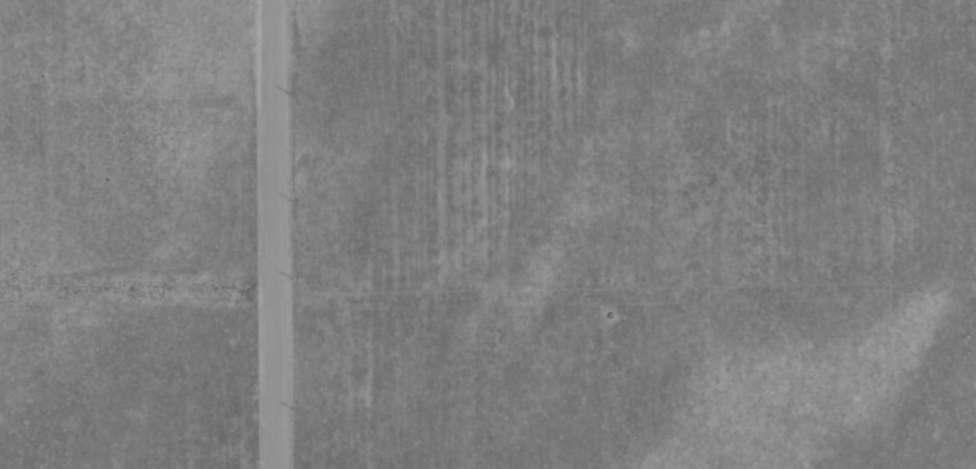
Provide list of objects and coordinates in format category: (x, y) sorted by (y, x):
road: (285, 234)

